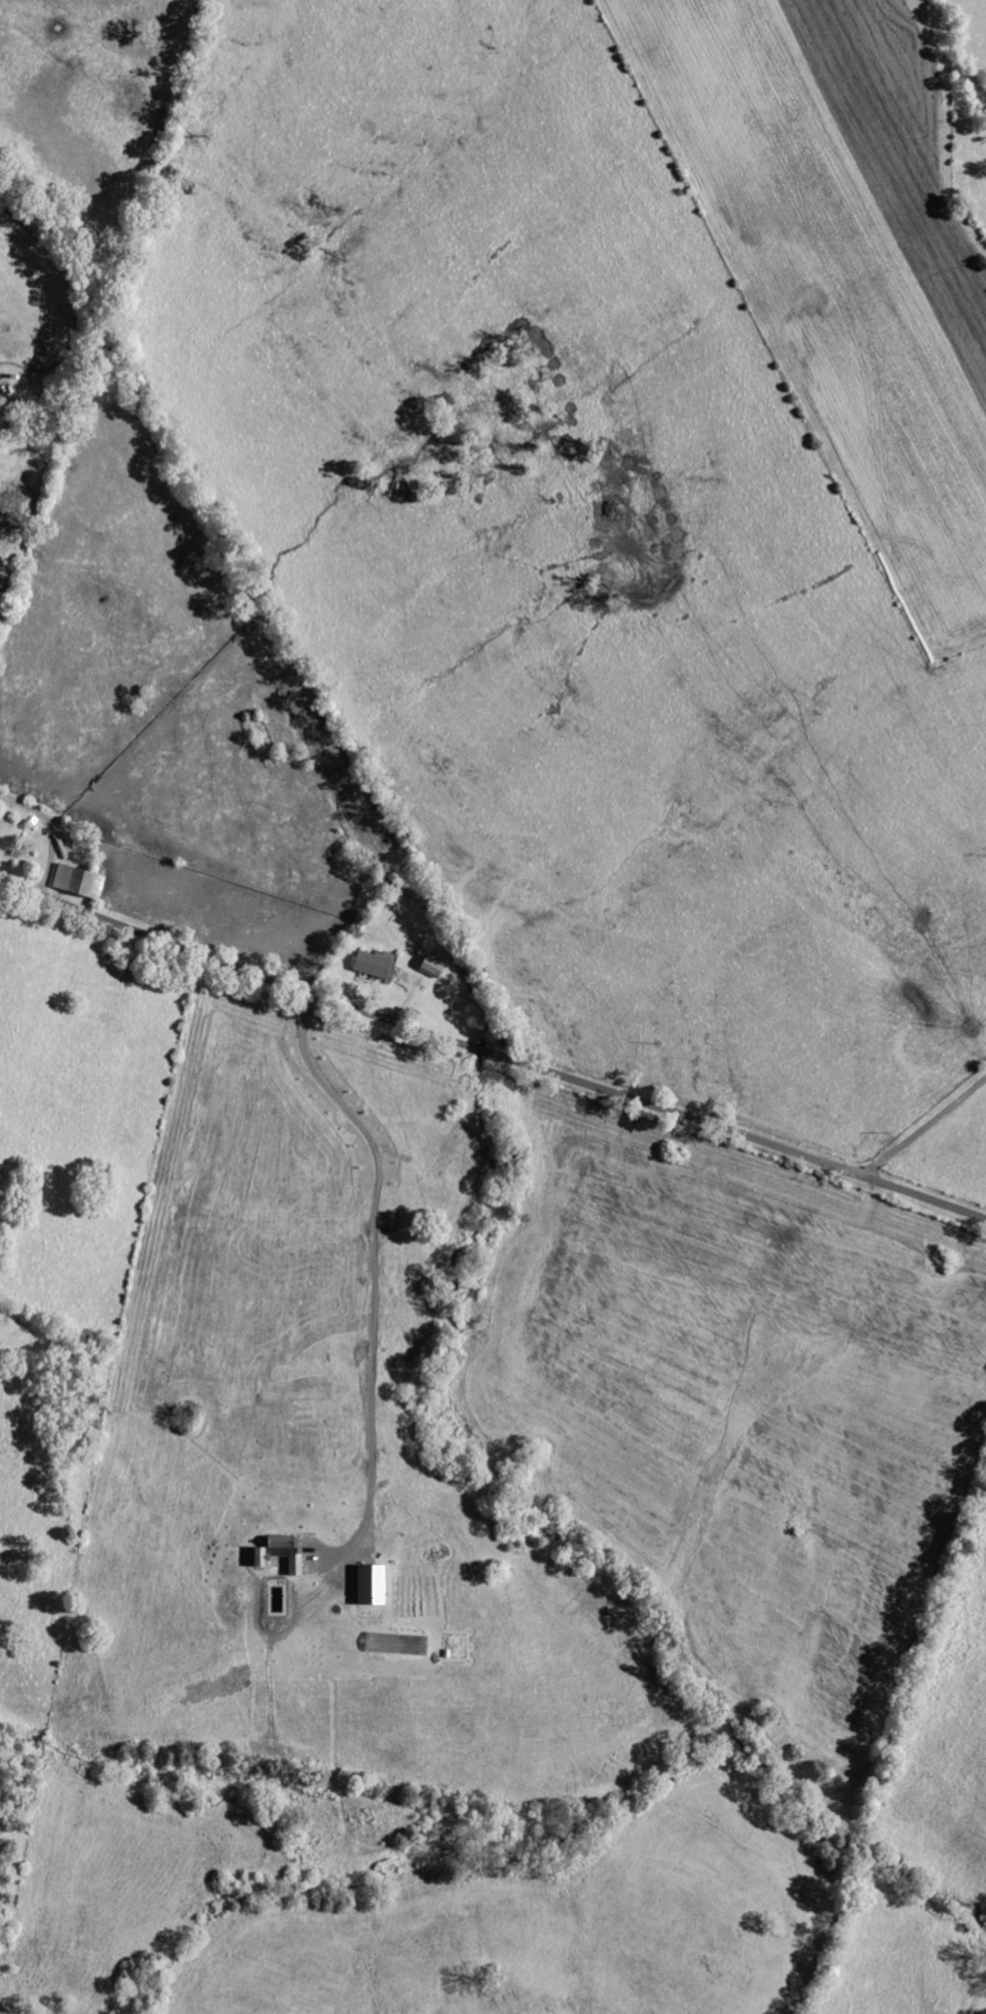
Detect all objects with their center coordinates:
building: (77, 883)
building: (370, 963)
building: (429, 967)
road: (492, 1051)
road: (922, 1126)
road: (373, 1278)
building: (283, 1552)
building: (256, 1557)
building: (367, 1585)
building: (396, 1645)

